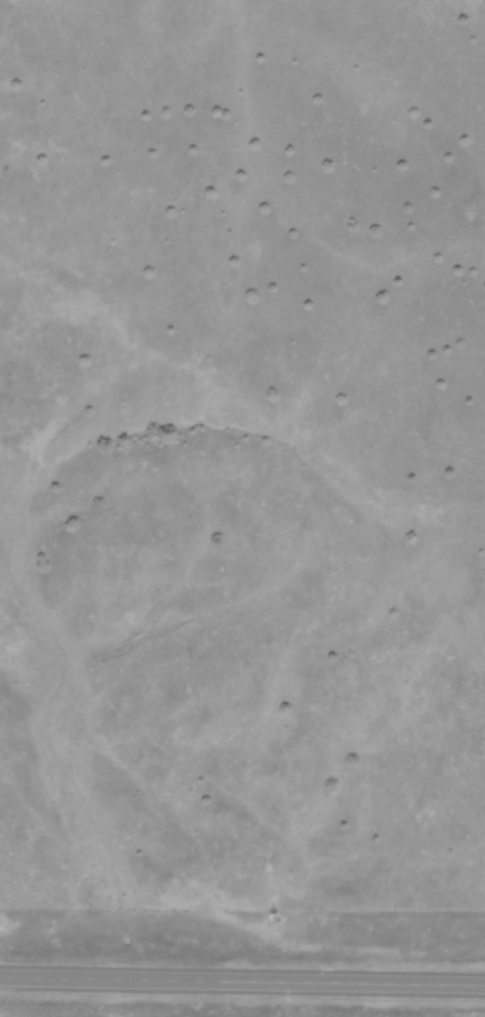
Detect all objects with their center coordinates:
road: (242, 981)

